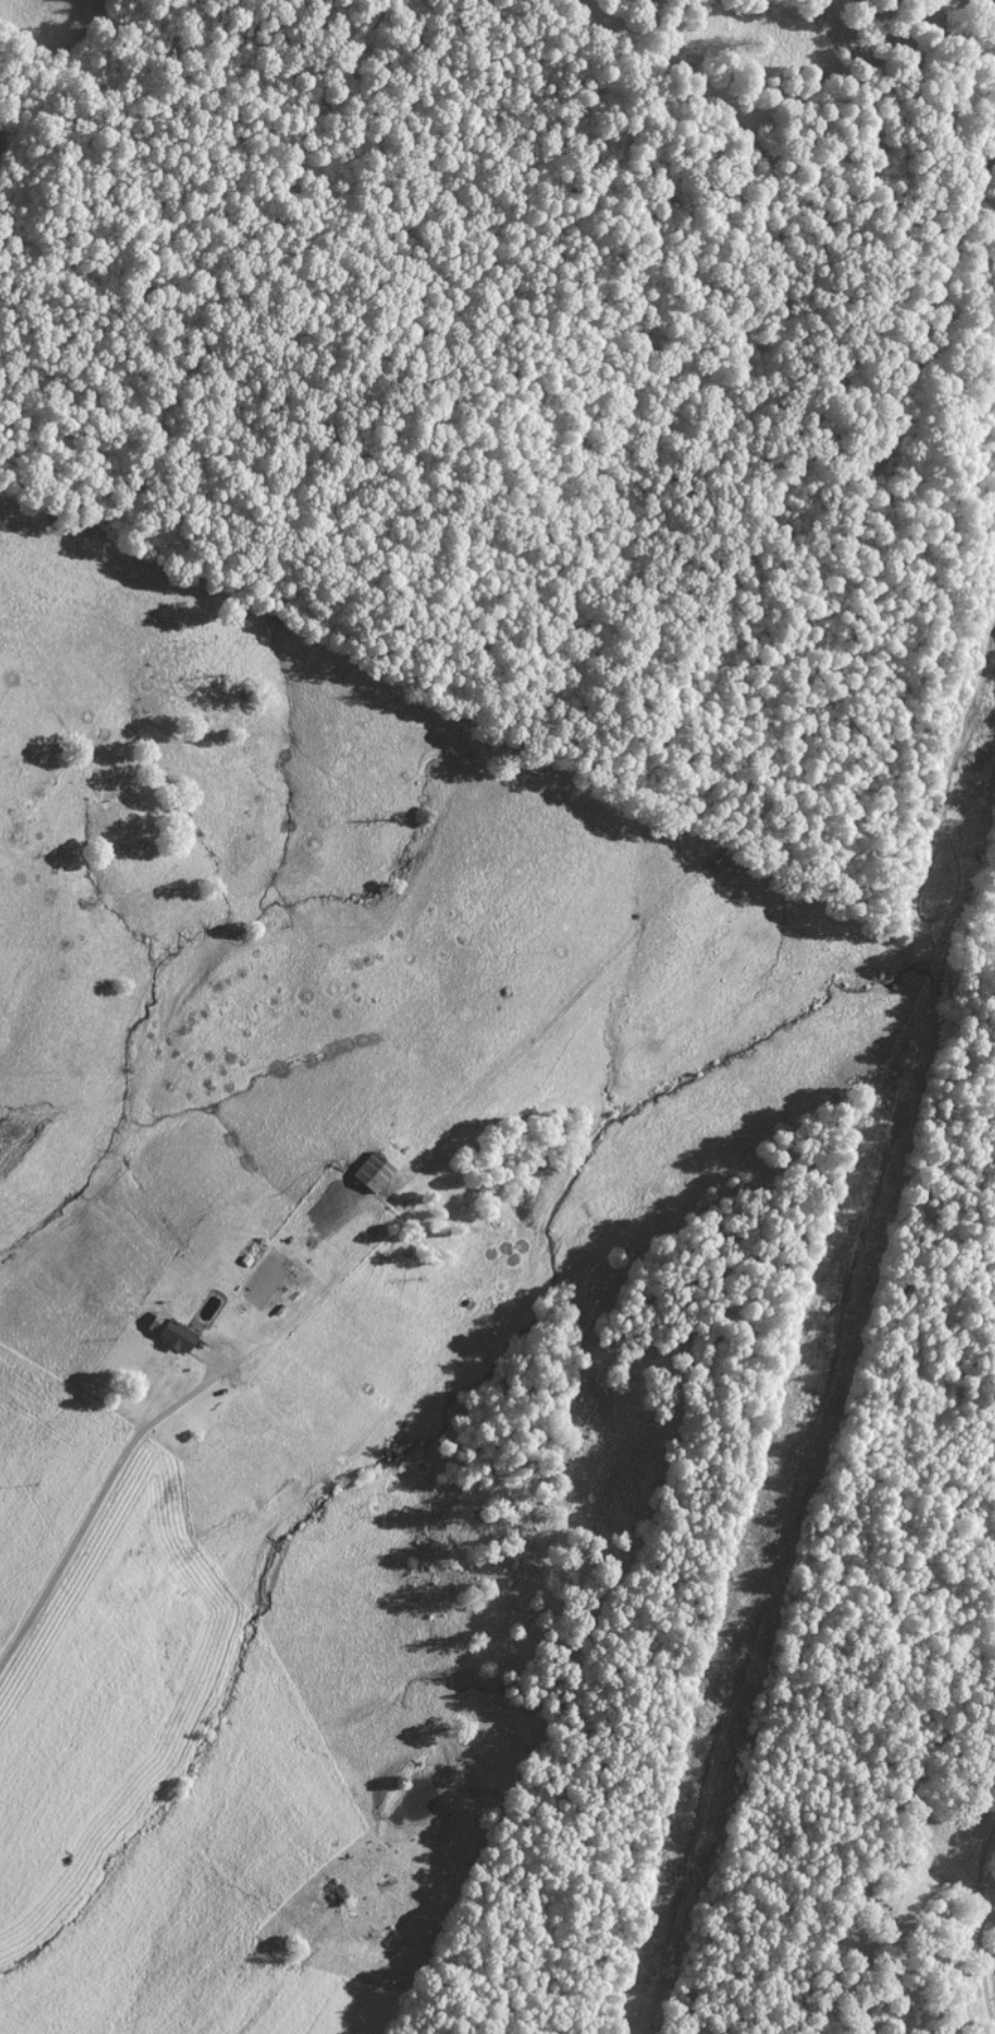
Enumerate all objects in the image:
building: (370, 1172)
building: (168, 1332)
road: (838, 1804)
road: (286, 1988)

